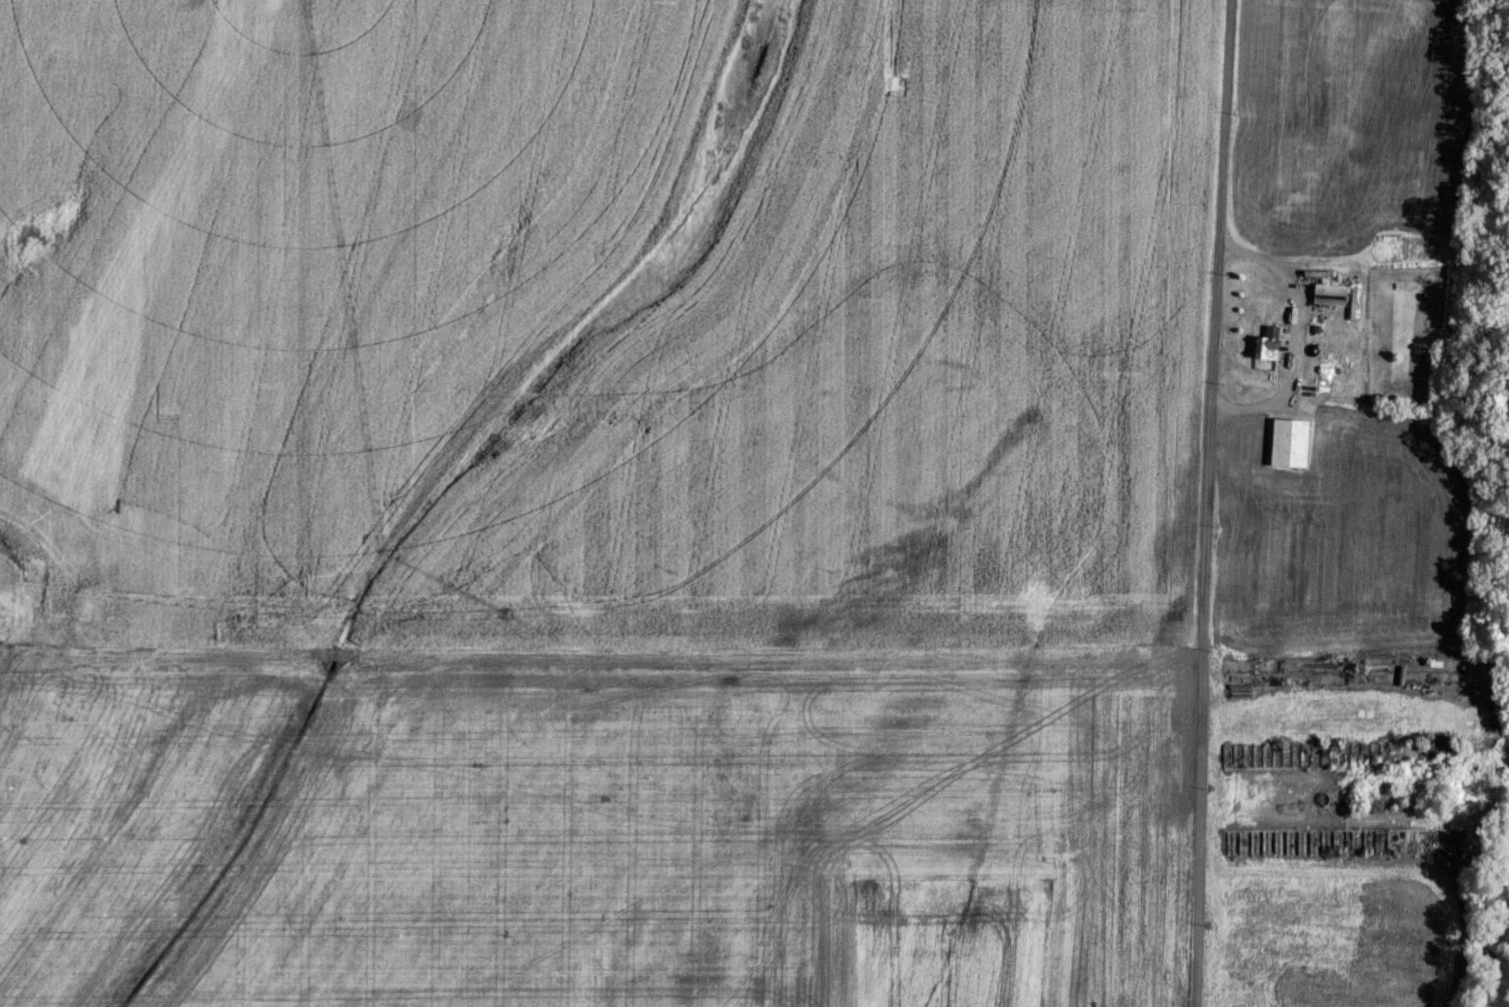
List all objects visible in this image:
building: (1329, 292)
road: (1297, 333)
building: (1289, 441)
road: (1204, 503)

